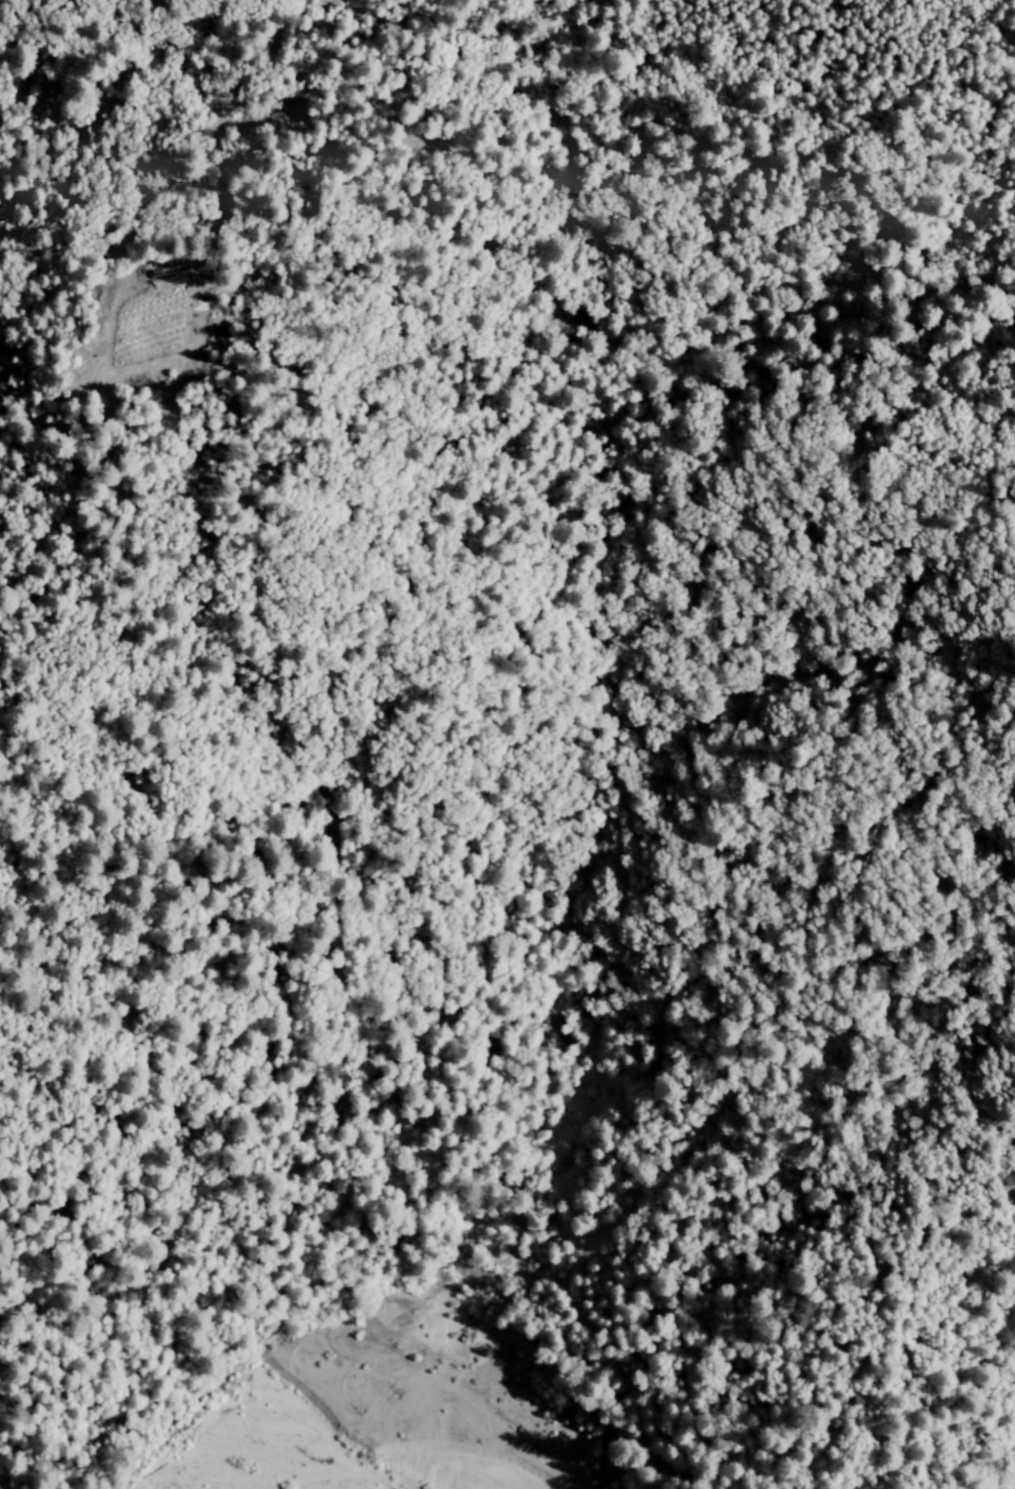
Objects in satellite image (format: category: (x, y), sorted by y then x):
road: (222, 144)
river: (227, 1456)

